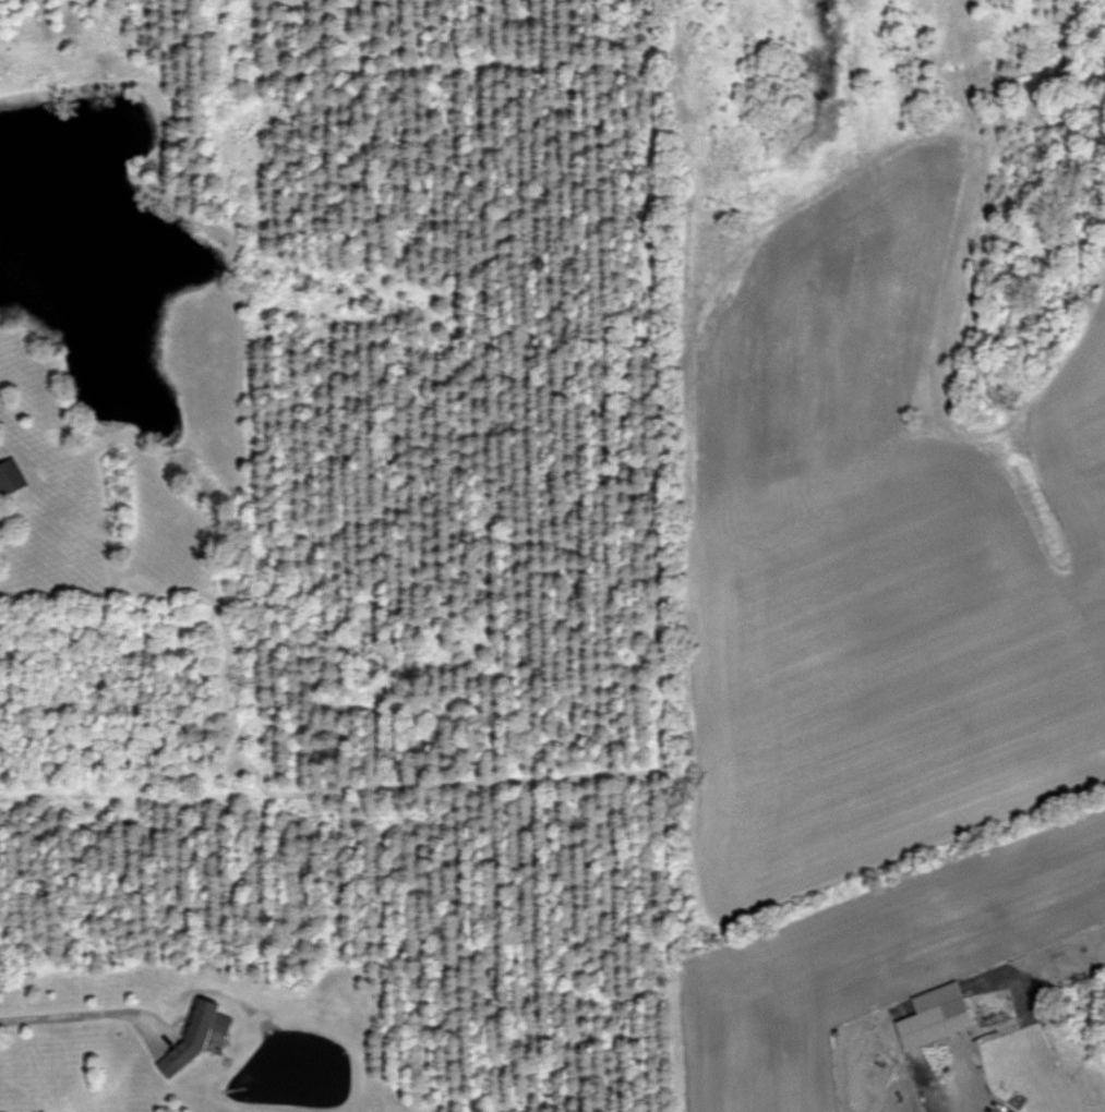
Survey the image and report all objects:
building: (12, 479)
building: (1061, 966)
road: (89, 1010)
building: (942, 1010)
building: (195, 1032)
road: (974, 1104)
building: (1013, 1111)

